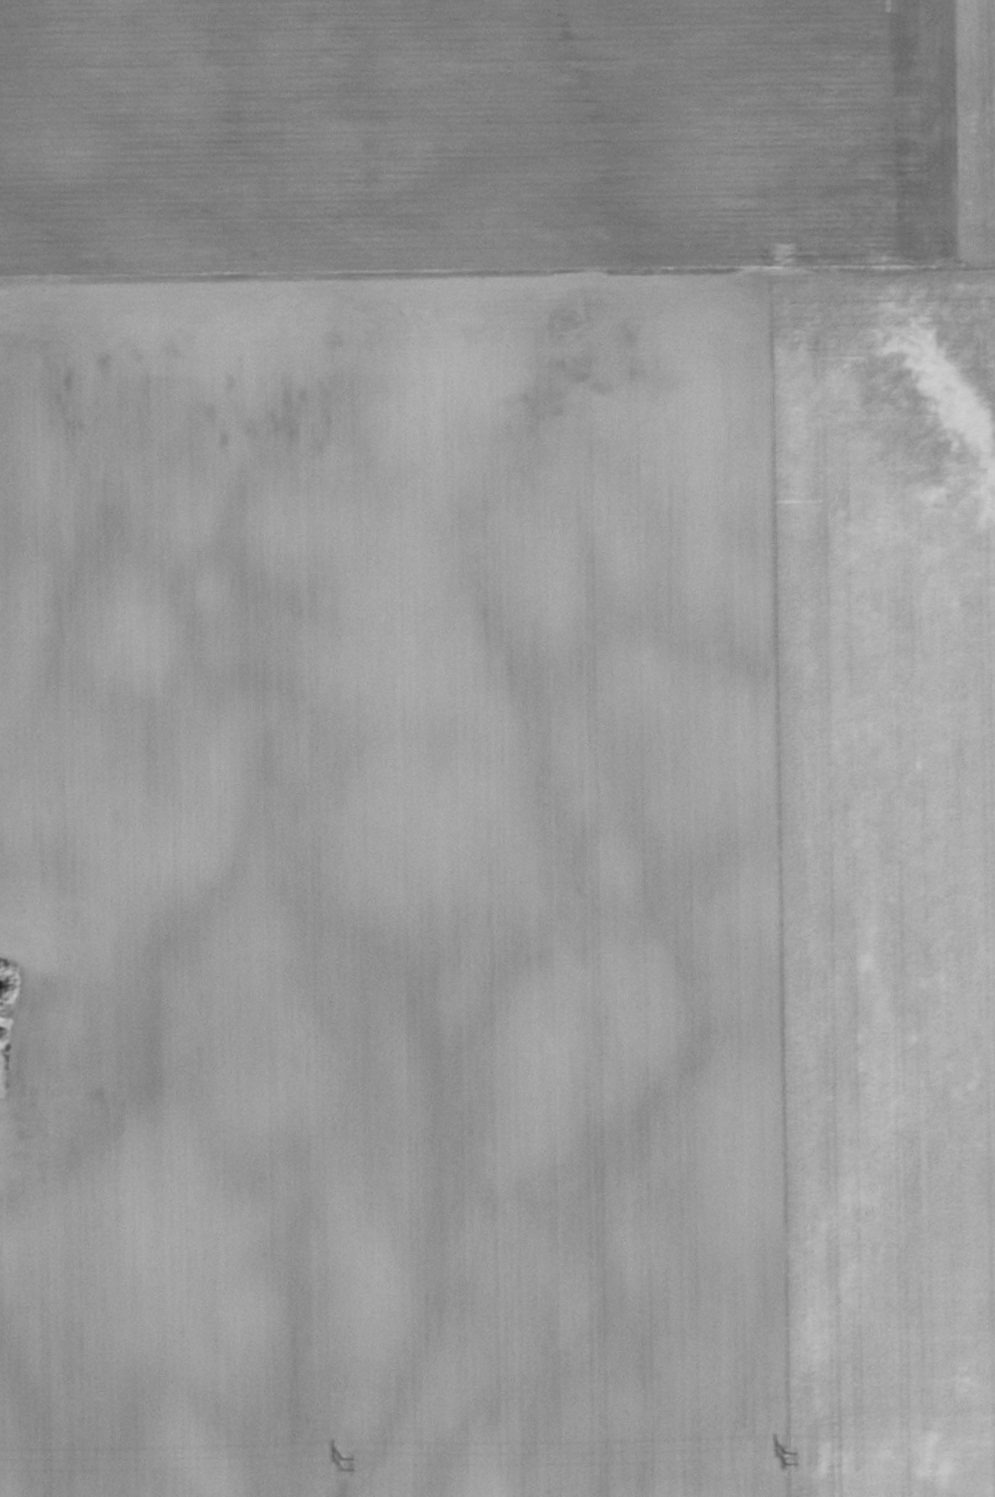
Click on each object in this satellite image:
power tower: (794, 1460)
power tower: (343, 1468)

